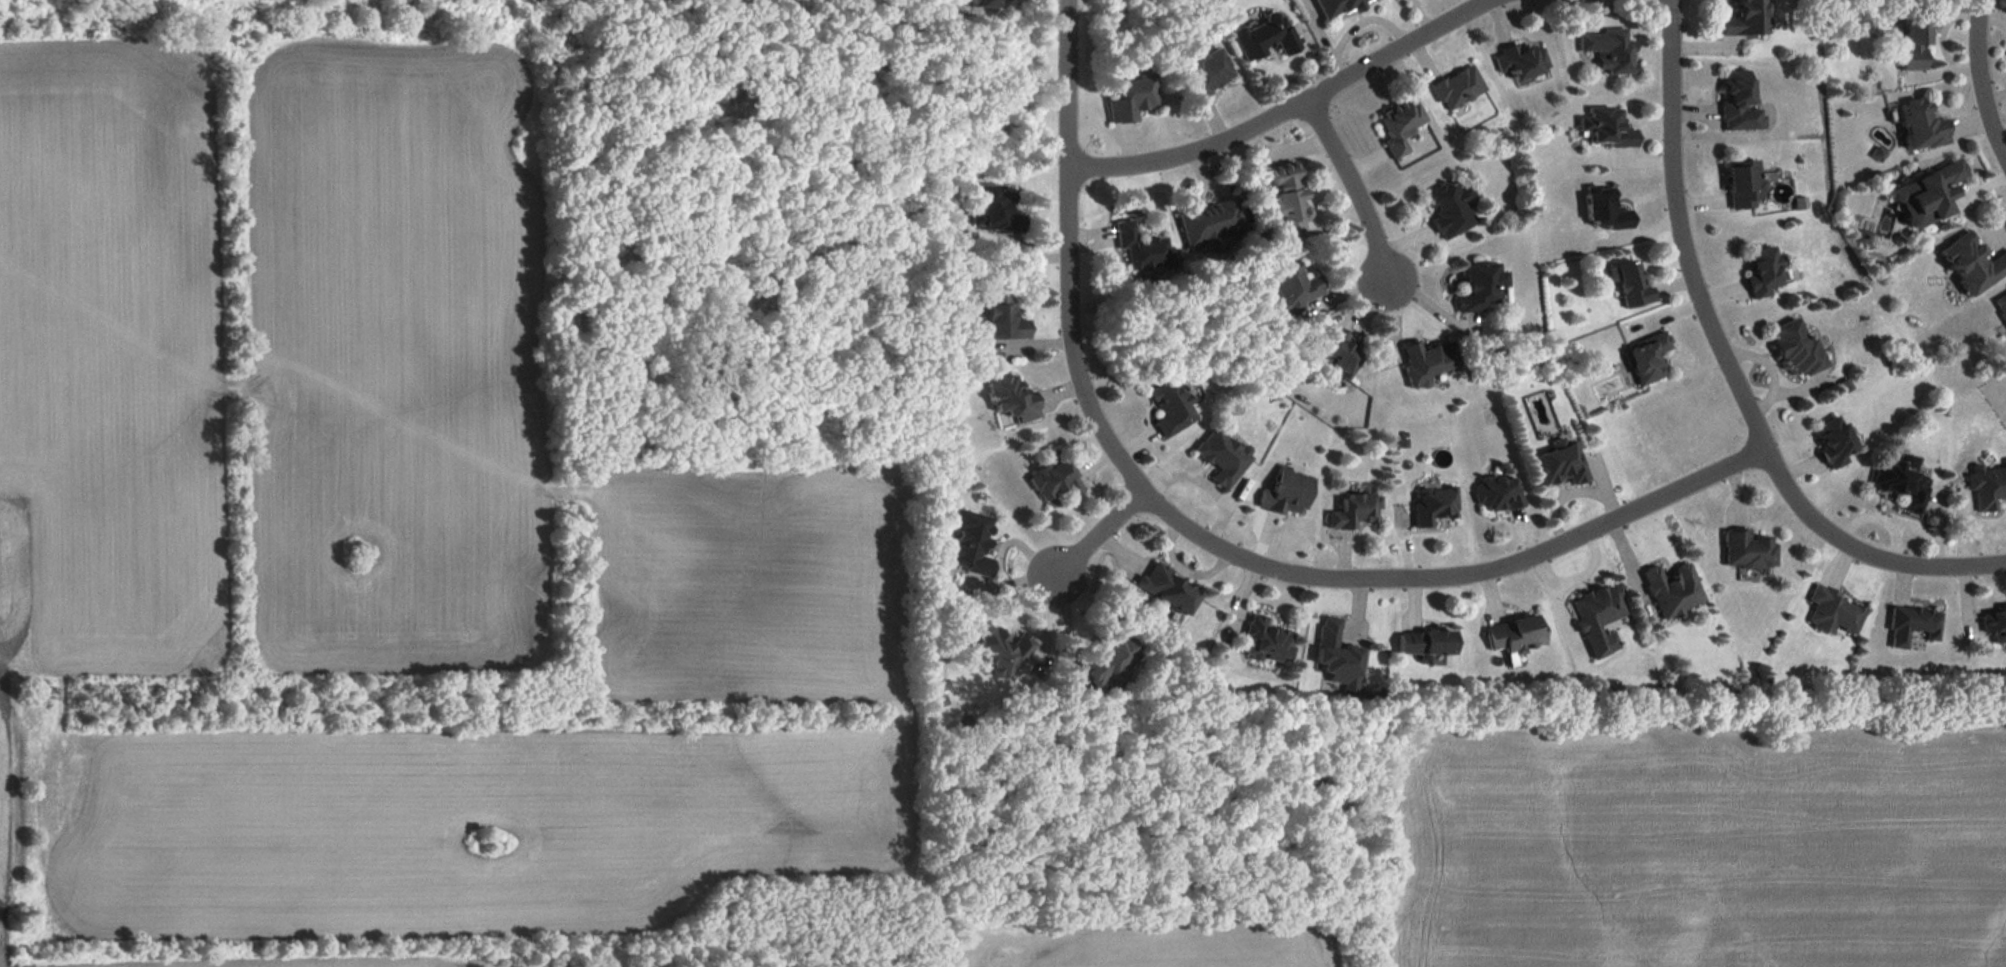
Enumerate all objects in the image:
building: (989, 4)
building: (1335, 7)
building: (1744, 20)
building: (1265, 37)
building: (1914, 43)
building: (1609, 51)
building: (1522, 61)
building: (1209, 75)
road: (1978, 79)
building: (1458, 89)
building: (1132, 99)
building: (1739, 103)
road: (1289, 107)
building: (1400, 125)
building: (1921, 126)
building: (1606, 129)
building: (1743, 185)
road: (1354, 187)
building: (1927, 196)
building: (1288, 200)
building: (1450, 209)
building: (1604, 211)
building: (995, 212)
building: (1213, 224)
building: (1864, 236)
building: (1212, 244)
building: (1143, 252)
building: (1973, 264)
building: (1762, 272)
building: (1292, 286)
building: (1630, 286)
building: (1480, 287)
building: (2001, 302)
building: (1003, 321)
building: (1339, 351)
building: (1796, 351)
crop: (387, 352)
crop: (109, 357)
building: (1647, 359)
building: (1426, 363)
road: (1730, 368)
building: (1012, 401)
building: (1172, 407)
building: (1834, 442)
building: (1223, 458)
building: (2005, 459)
building: (1558, 467)
building: (1056, 483)
building: (1902, 484)
building: (1987, 487)
building: (1288, 493)
building: (1498, 496)
building: (1434, 506)
building: (1354, 512)
road: (1102, 536)
road: (1208, 538)
building: (969, 544)
building: (1748, 551)
crop: (742, 581)
building: (1168, 588)
building: (1672, 590)
building: (1834, 613)
building: (1598, 616)
building: (1995, 624)
building: (1912, 626)
building: (1515, 636)
building: (1267, 639)
building: (1426, 642)
building: (1000, 650)
building: (1336, 655)
building: (1110, 660)
crop: (468, 818)
crop: (1703, 847)
crop: (1153, 941)
crop: (376, 964)

